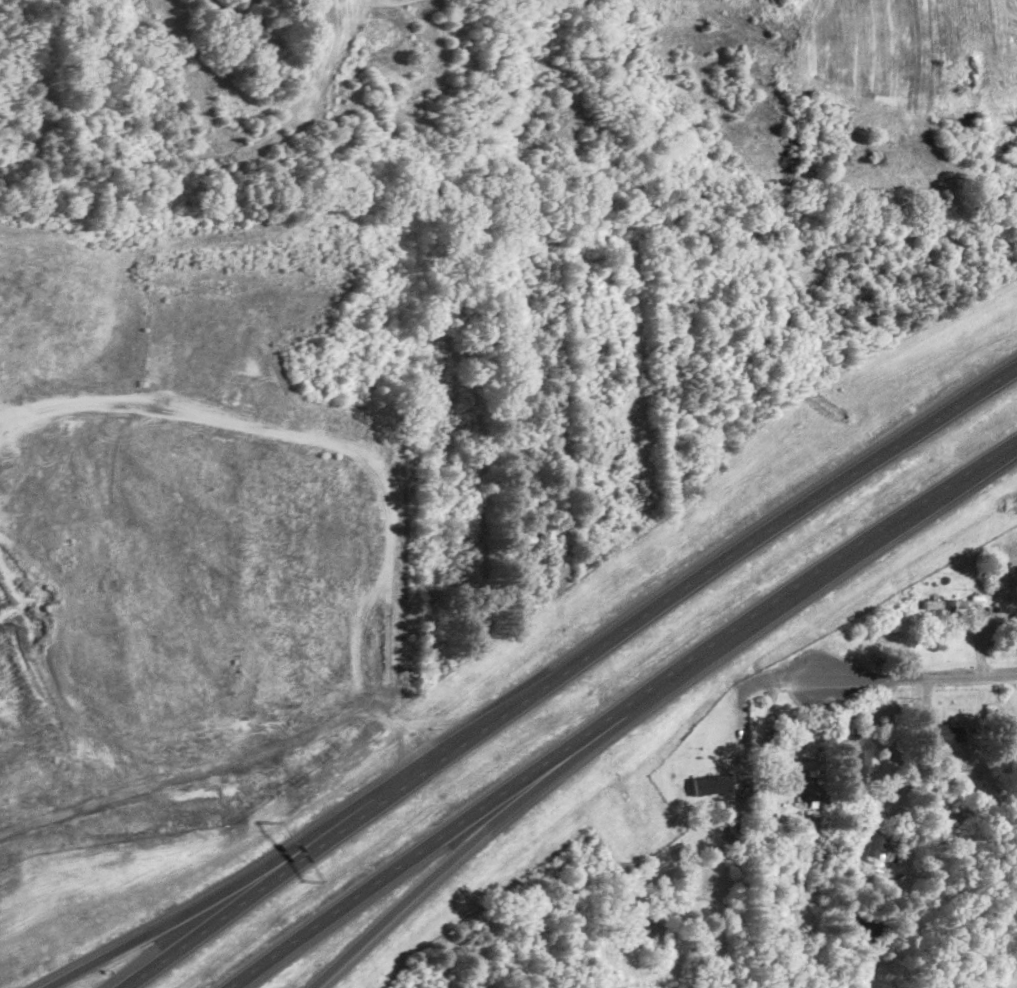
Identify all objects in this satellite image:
road: (712, 562)
building: (944, 603)
building: (1014, 616)
road: (918, 673)
road: (770, 679)
road: (614, 714)
road: (740, 727)
building: (947, 732)
building: (855, 751)
building: (801, 765)
building: (712, 783)
road: (477, 838)
building: (874, 842)
road: (234, 881)
road: (264, 881)

